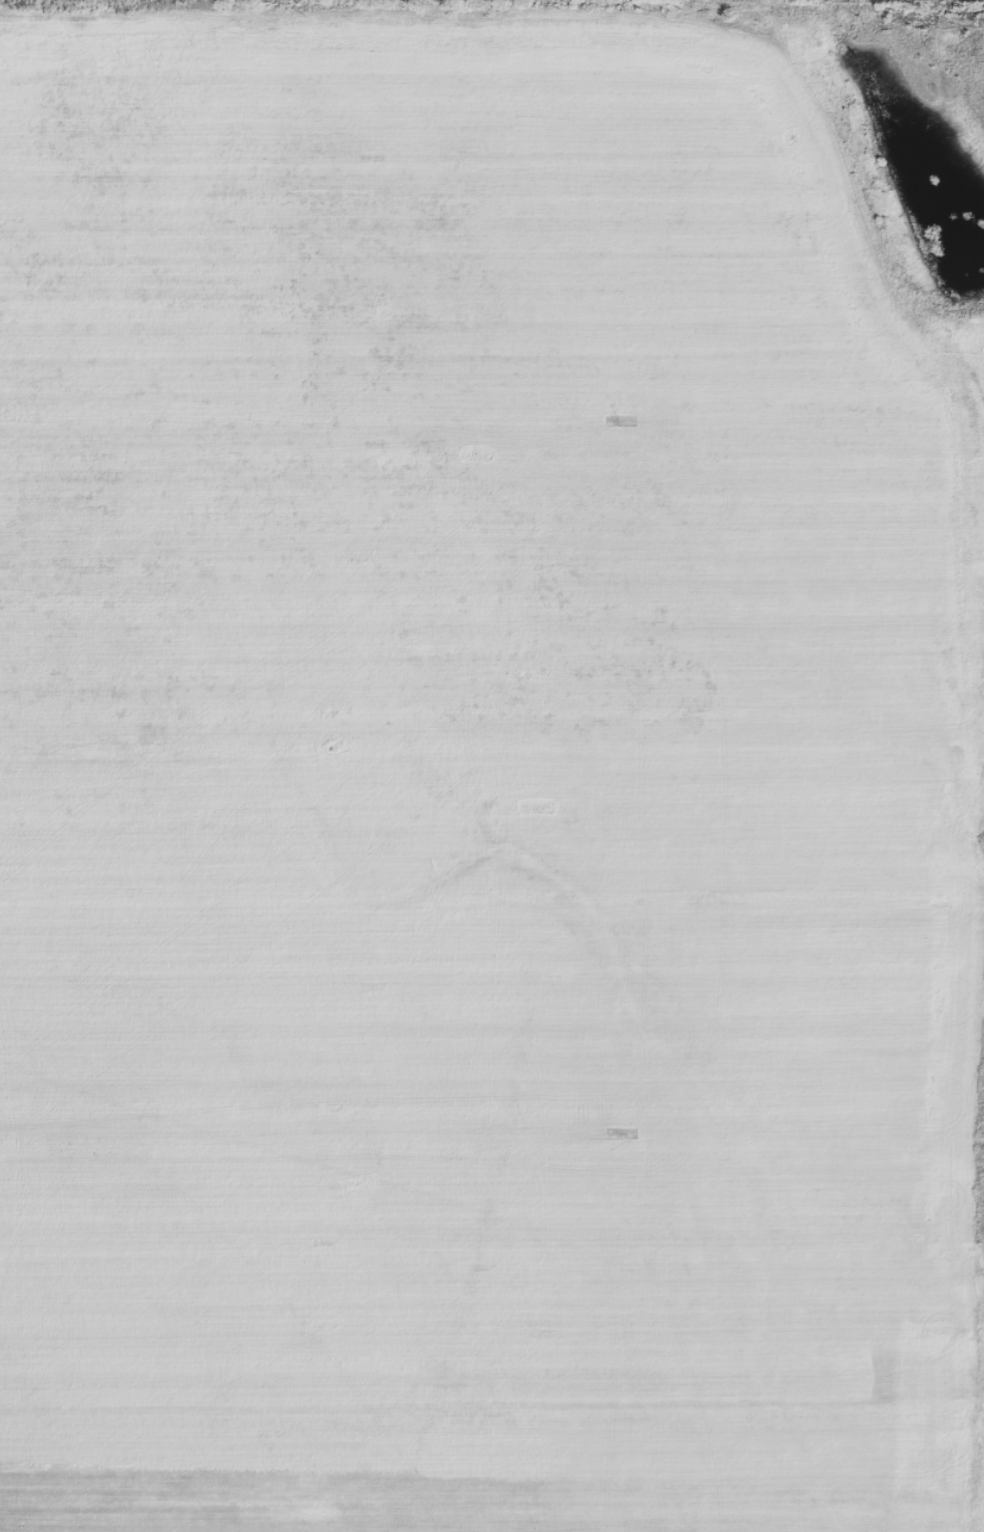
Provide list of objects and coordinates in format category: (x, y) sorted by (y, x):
road: (492, 8)

